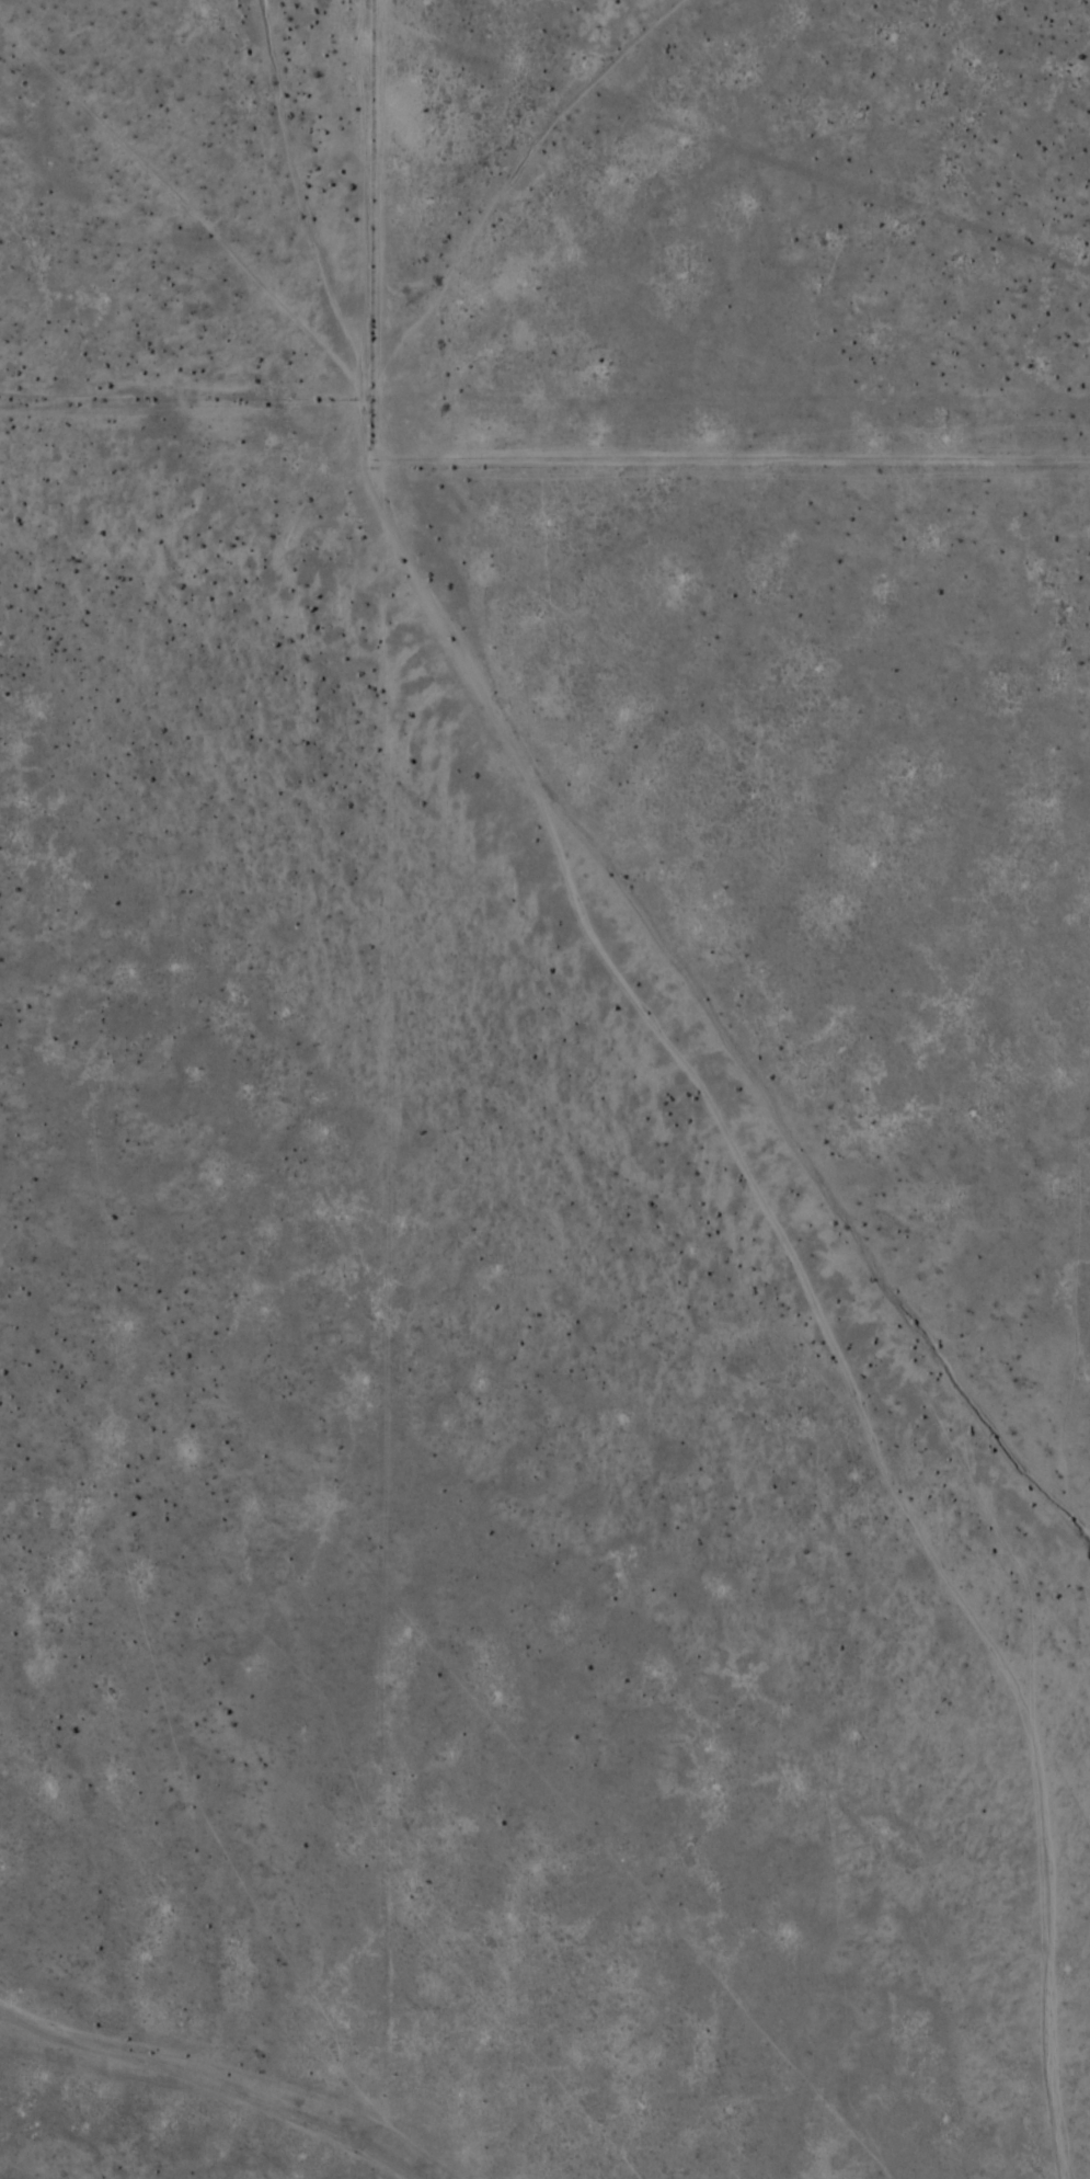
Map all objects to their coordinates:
road: (244, 395)
road: (558, 452)
road: (385, 1088)

